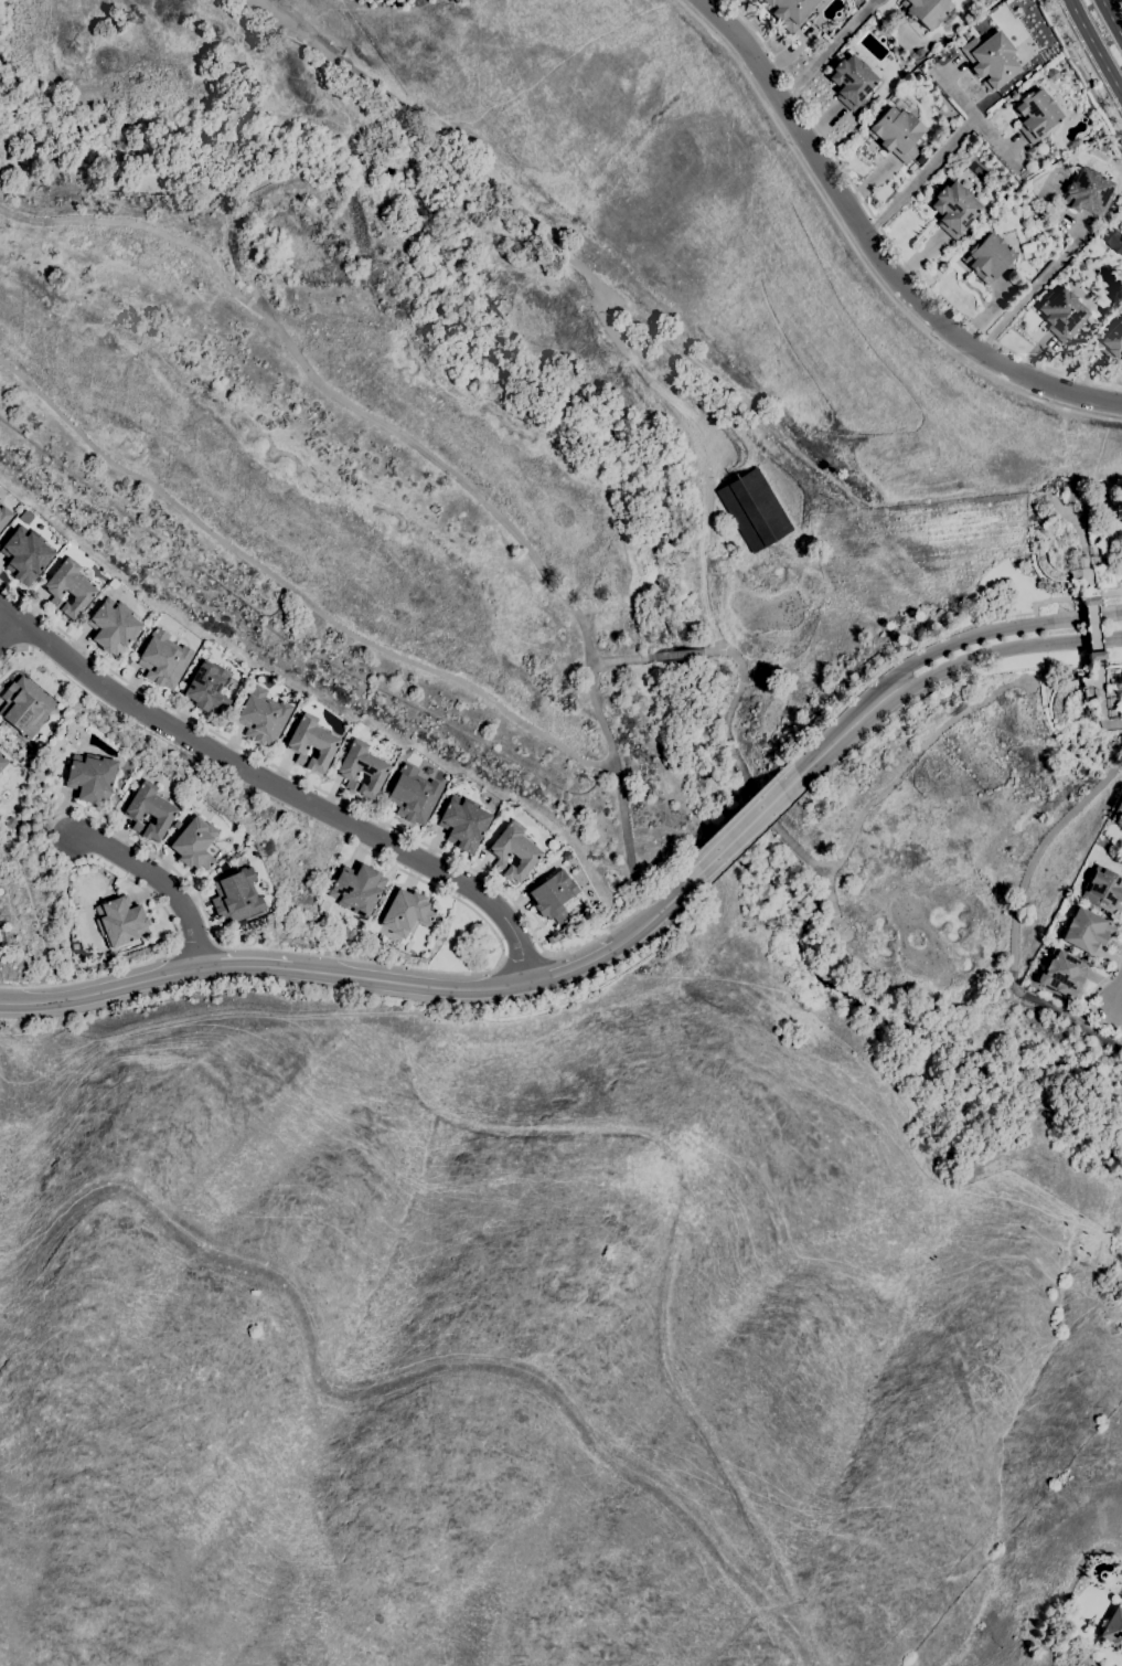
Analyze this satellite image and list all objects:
building: (926, 11)
building: (789, 12)
road: (1112, 17)
road: (291, 30)
building: (965, 33)
road: (1096, 47)
road: (826, 51)
building: (991, 60)
road: (1083, 70)
building: (1052, 74)
building: (851, 81)
building: (869, 112)
building: (1036, 115)
road: (973, 116)
building: (896, 132)
building: (1101, 146)
road: (918, 176)
building: (1088, 192)
building: (954, 209)
building: (1113, 235)
road: (885, 236)
road: (873, 248)
building: (989, 257)
road: (859, 258)
road: (576, 266)
building: (1062, 315)
building: (1111, 341)
building: (1121, 357)
road: (416, 446)
building: (754, 510)
building: (4, 516)
park: (533, 520)
road: (1082, 527)
building: (25, 554)
building: (113, 583)
building: (68, 588)
road: (290, 588)
road: (704, 596)
building: (1089, 596)
road: (1091, 625)
building: (113, 626)
road: (8, 630)
road: (992, 630)
road: (939, 639)
road: (998, 650)
road: (8, 655)
road: (674, 655)
building: (163, 659)
road: (619, 660)
building: (1096, 660)
building: (207, 688)
road: (1098, 702)
building: (312, 704)
building: (24, 705)
building: (261, 717)
road: (841, 735)
building: (311, 743)
building: (2, 762)
building: (361, 768)
building: (0, 773)
building: (90, 777)
road: (277, 783)
building: (413, 795)
road: (356, 809)
road: (741, 809)
building: (149, 810)
building: (1118, 811)
building: (10, 823)
building: (463, 823)
road: (750, 823)
building: (194, 843)
building: (513, 851)
road: (823, 870)
road: (157, 882)
building: (357, 888)
building: (1102, 889)
building: (553, 895)
building: (236, 896)
road: (661, 911)
building: (406, 912)
road: (1019, 921)
building: (120, 922)
building: (1086, 931)
building: (563, 934)
building: (551, 940)
road: (194, 942)
building: (489, 949)
road: (523, 957)
road: (354, 961)
road: (132, 964)
road: (573, 964)
road: (244, 965)
building: (1061, 974)
road: (409, 983)
road: (100, 991)
road: (1091, 996)
road: (1120, 1000)
road: (1120, 1021)
building: (1121, 1598)
building: (1113, 1628)

